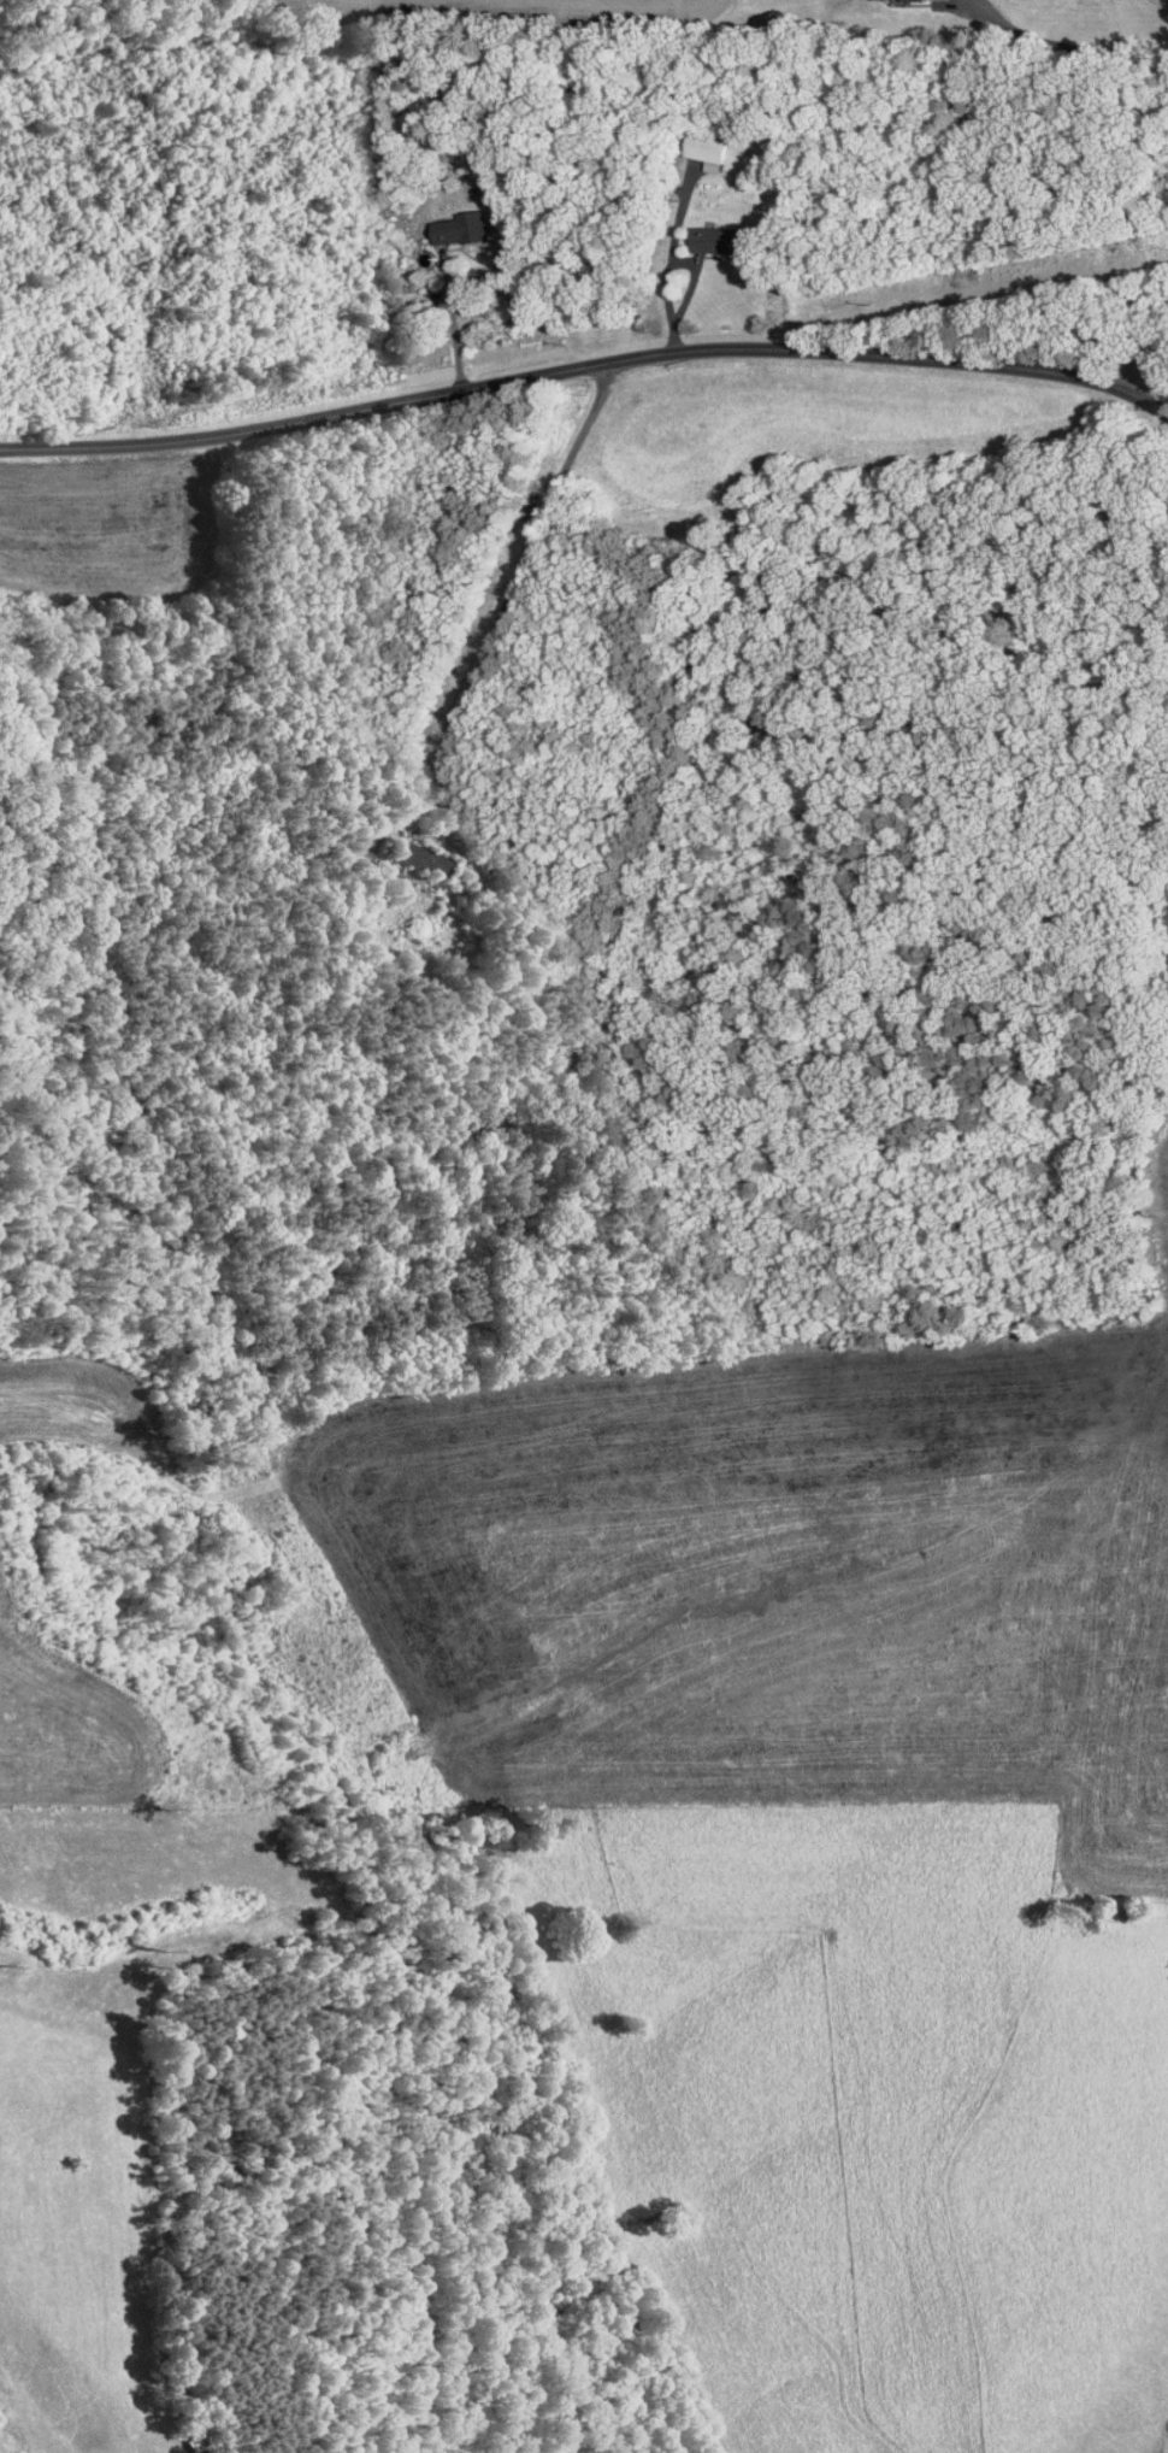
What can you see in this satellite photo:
road: (1057, 37)
building: (696, 146)
building: (450, 222)
building: (709, 233)
road: (1138, 360)
road: (585, 363)
road: (503, 607)
building: (405, 851)

